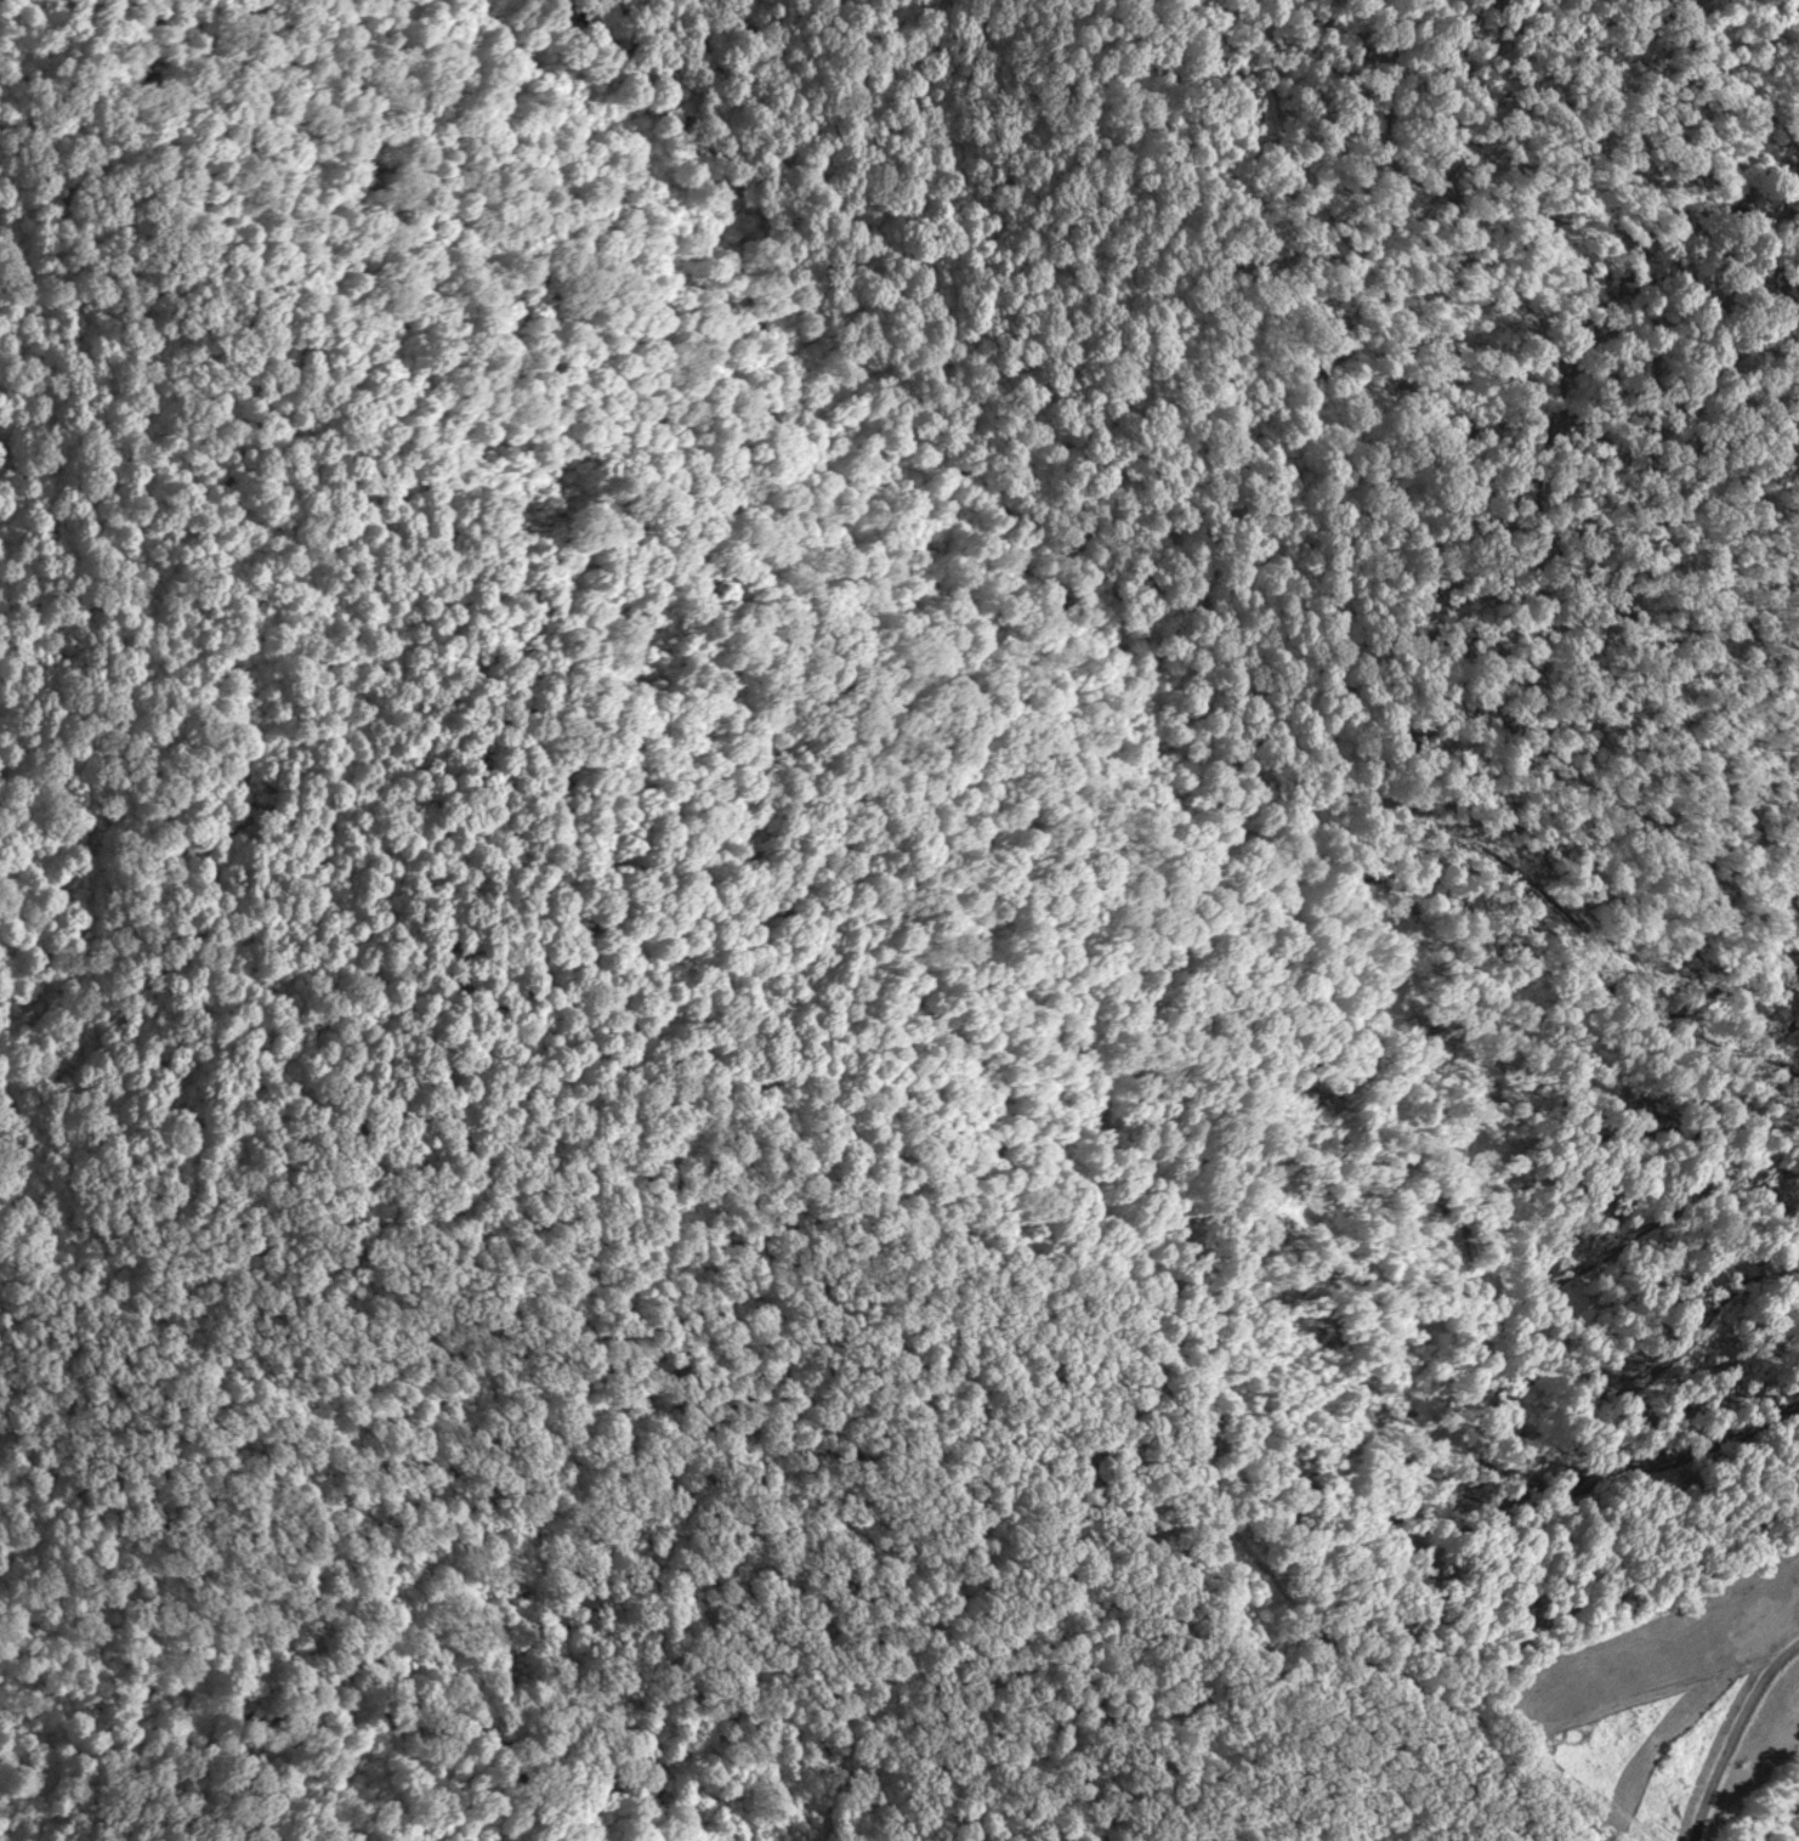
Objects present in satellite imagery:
road: (1718, 1695)

